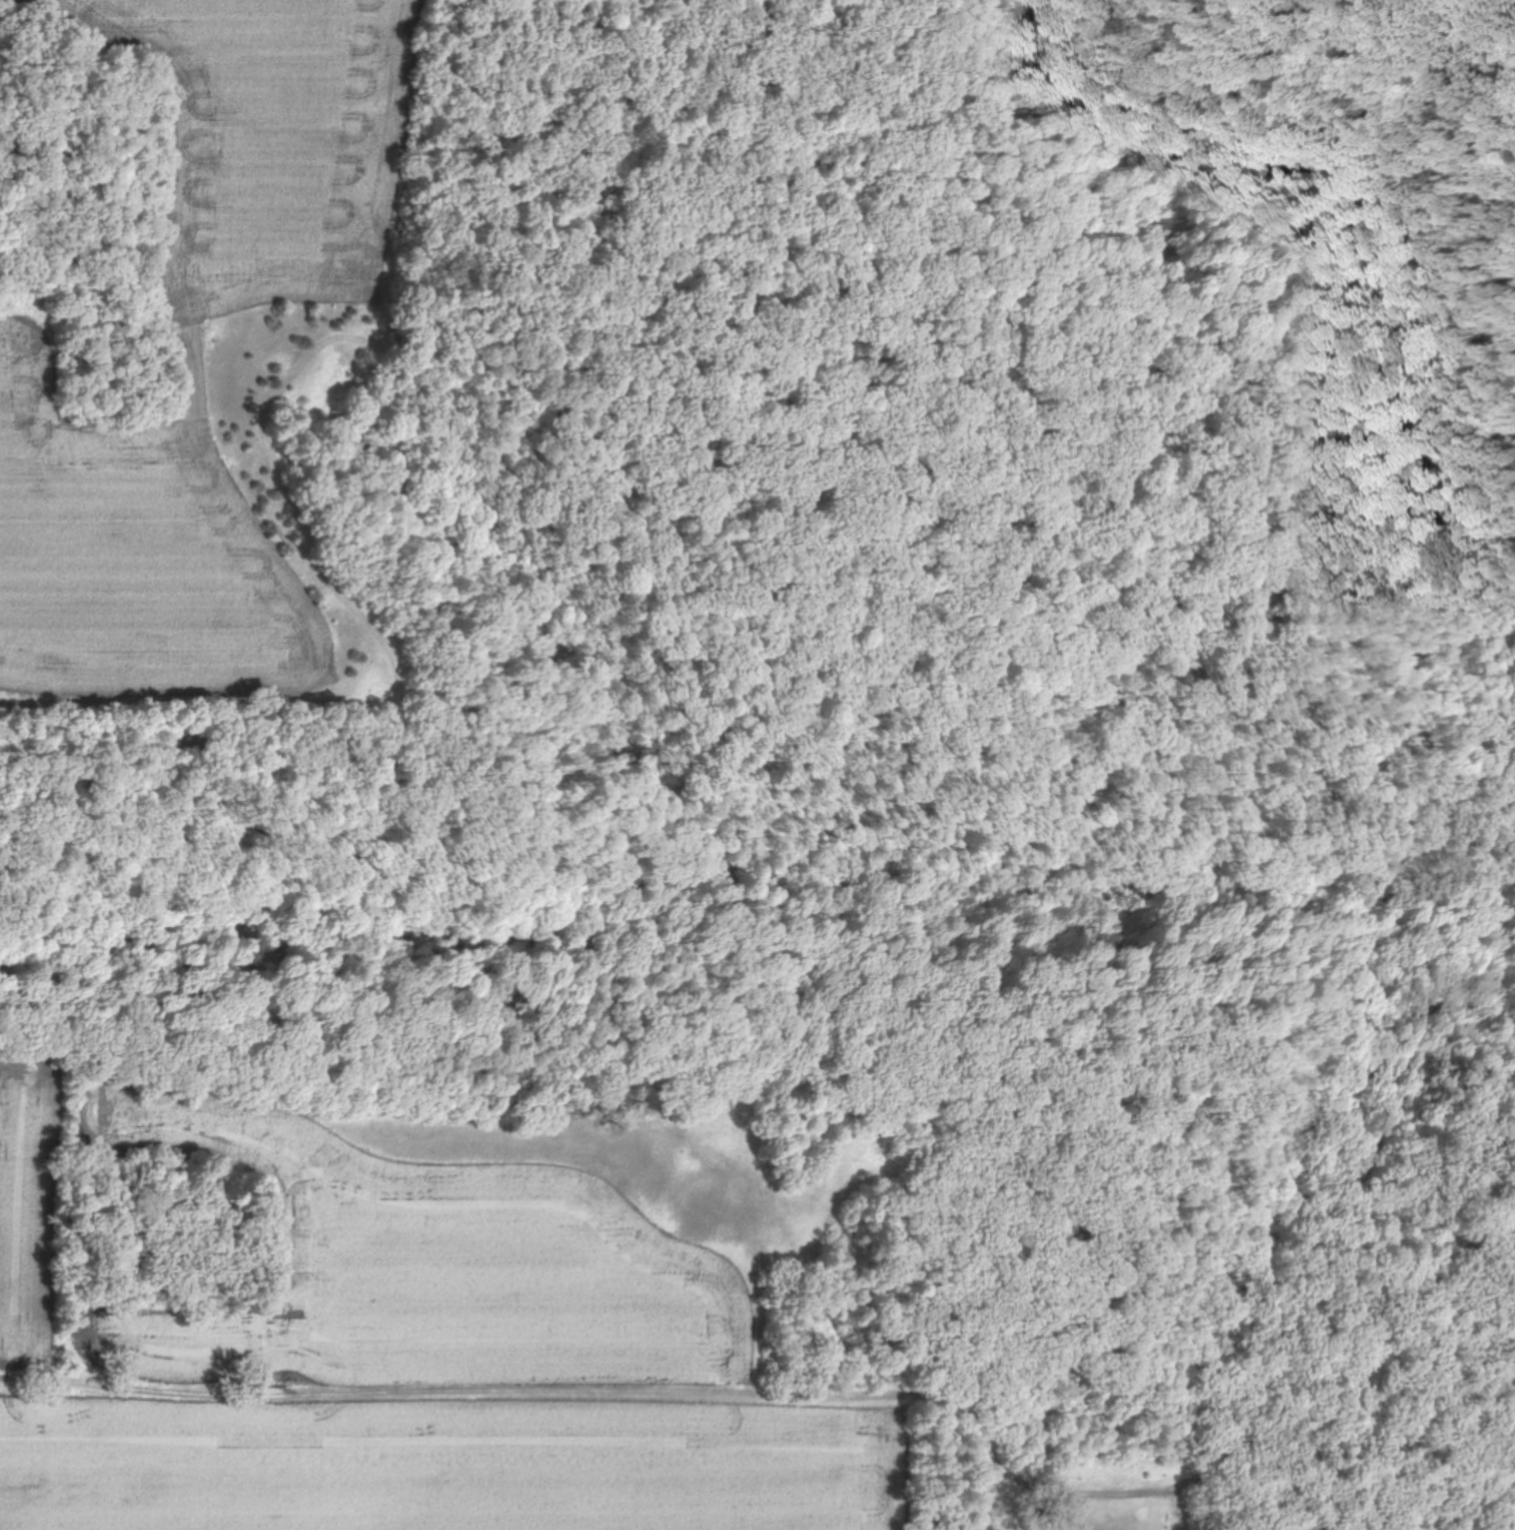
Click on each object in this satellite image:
park: (777, 1182)

